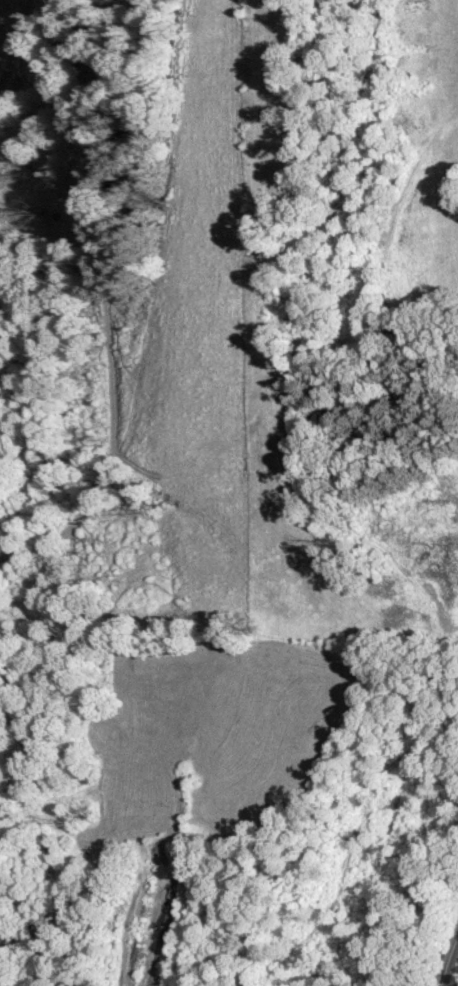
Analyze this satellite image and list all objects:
road: (449, 956)

